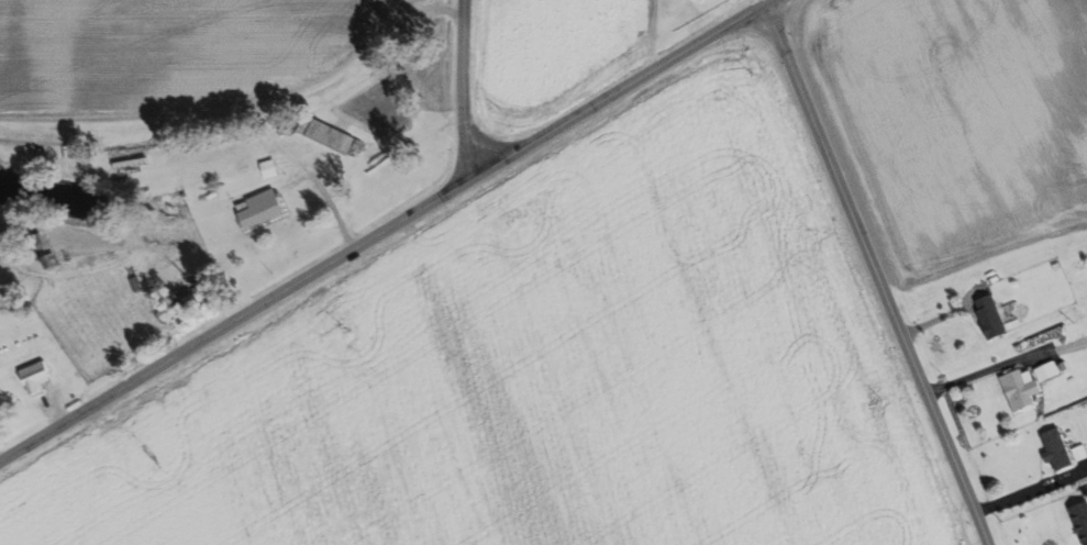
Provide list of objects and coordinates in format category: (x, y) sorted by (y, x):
crop: (554, 53)
road: (459, 89)
crop: (958, 119)
building: (333, 135)
road: (387, 232)
road: (877, 275)
building: (992, 316)
road: (938, 320)
building: (1065, 365)
road: (985, 371)
crop: (545, 372)
building: (38, 376)
building: (1022, 389)
building: (1058, 449)
road: (1029, 491)
building: (1082, 519)

